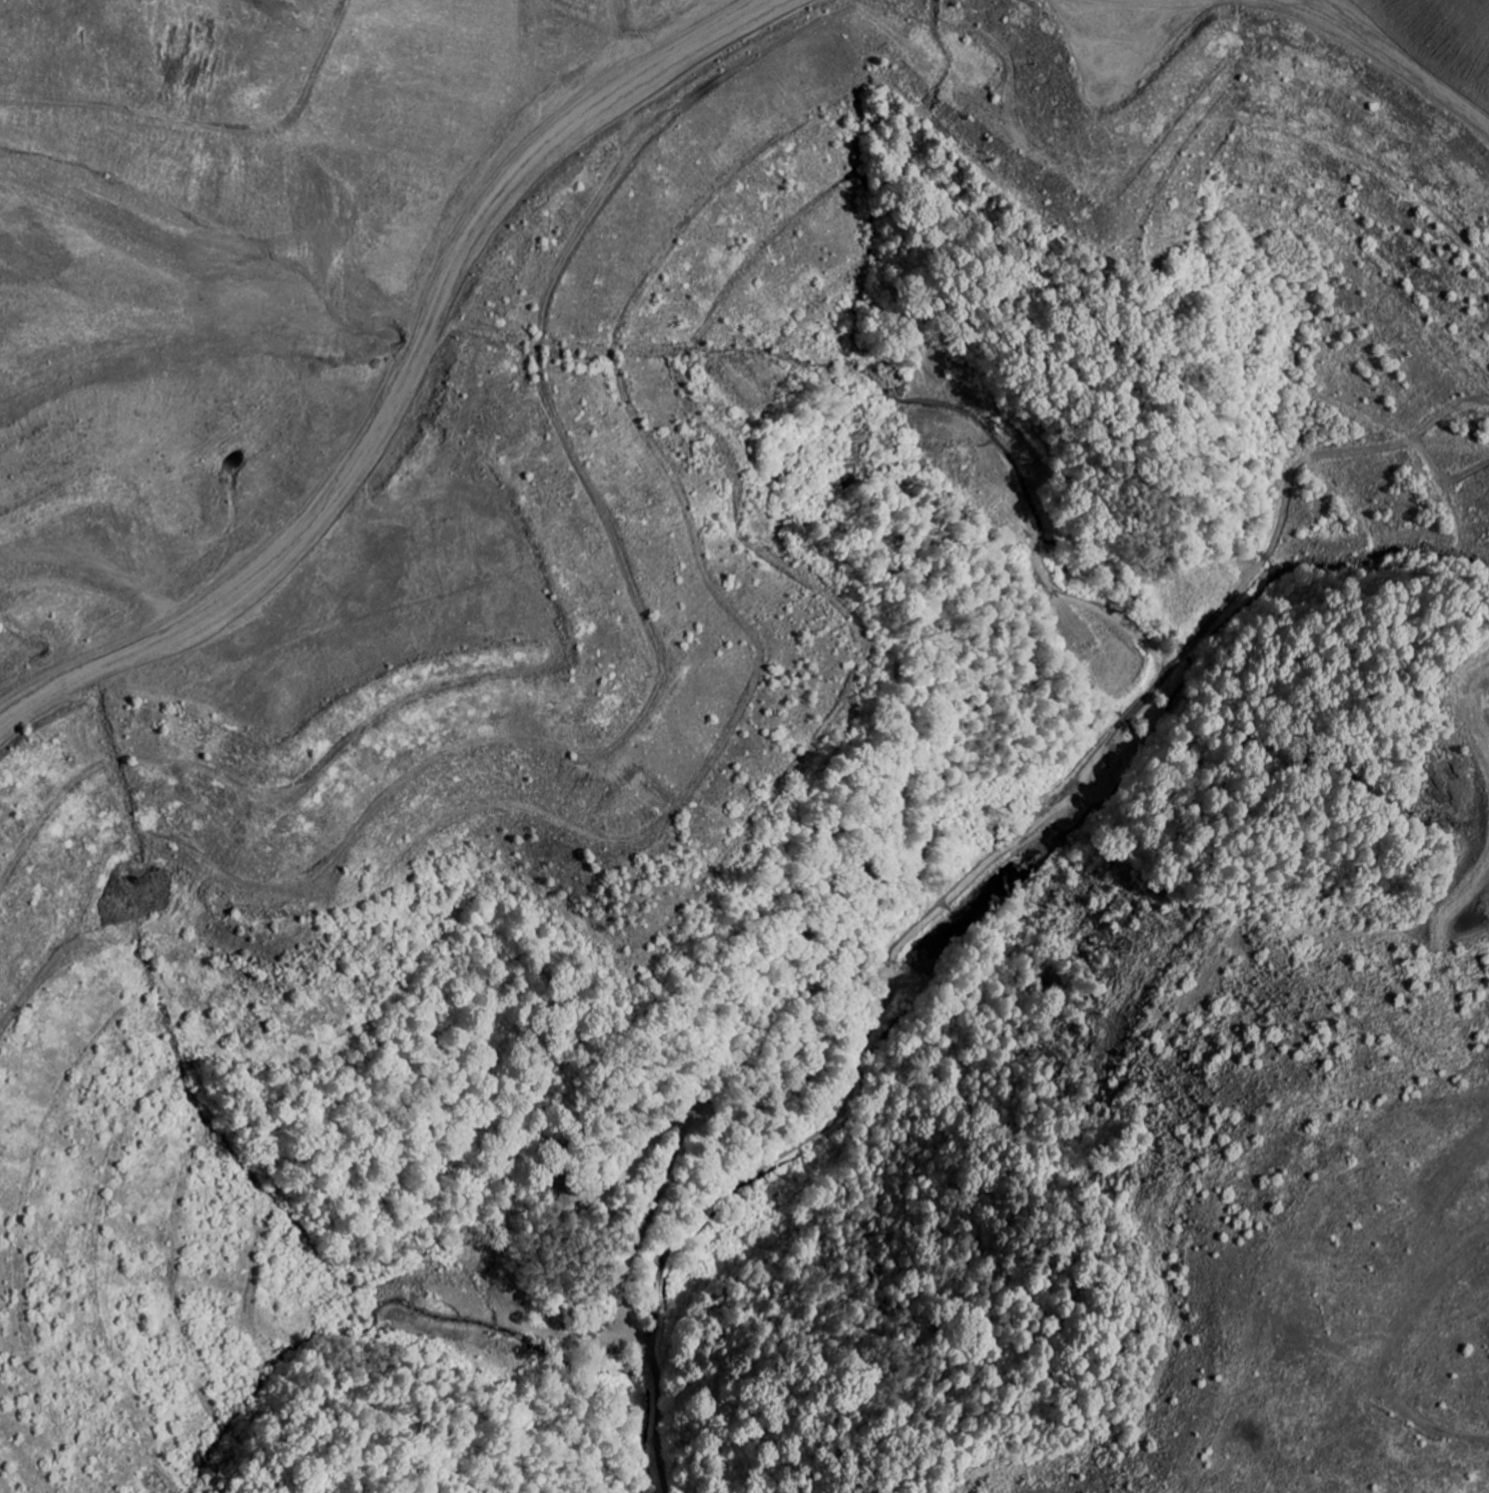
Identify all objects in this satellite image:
road: (1134, 743)
quarry: (744, 746)
road: (826, 1131)

